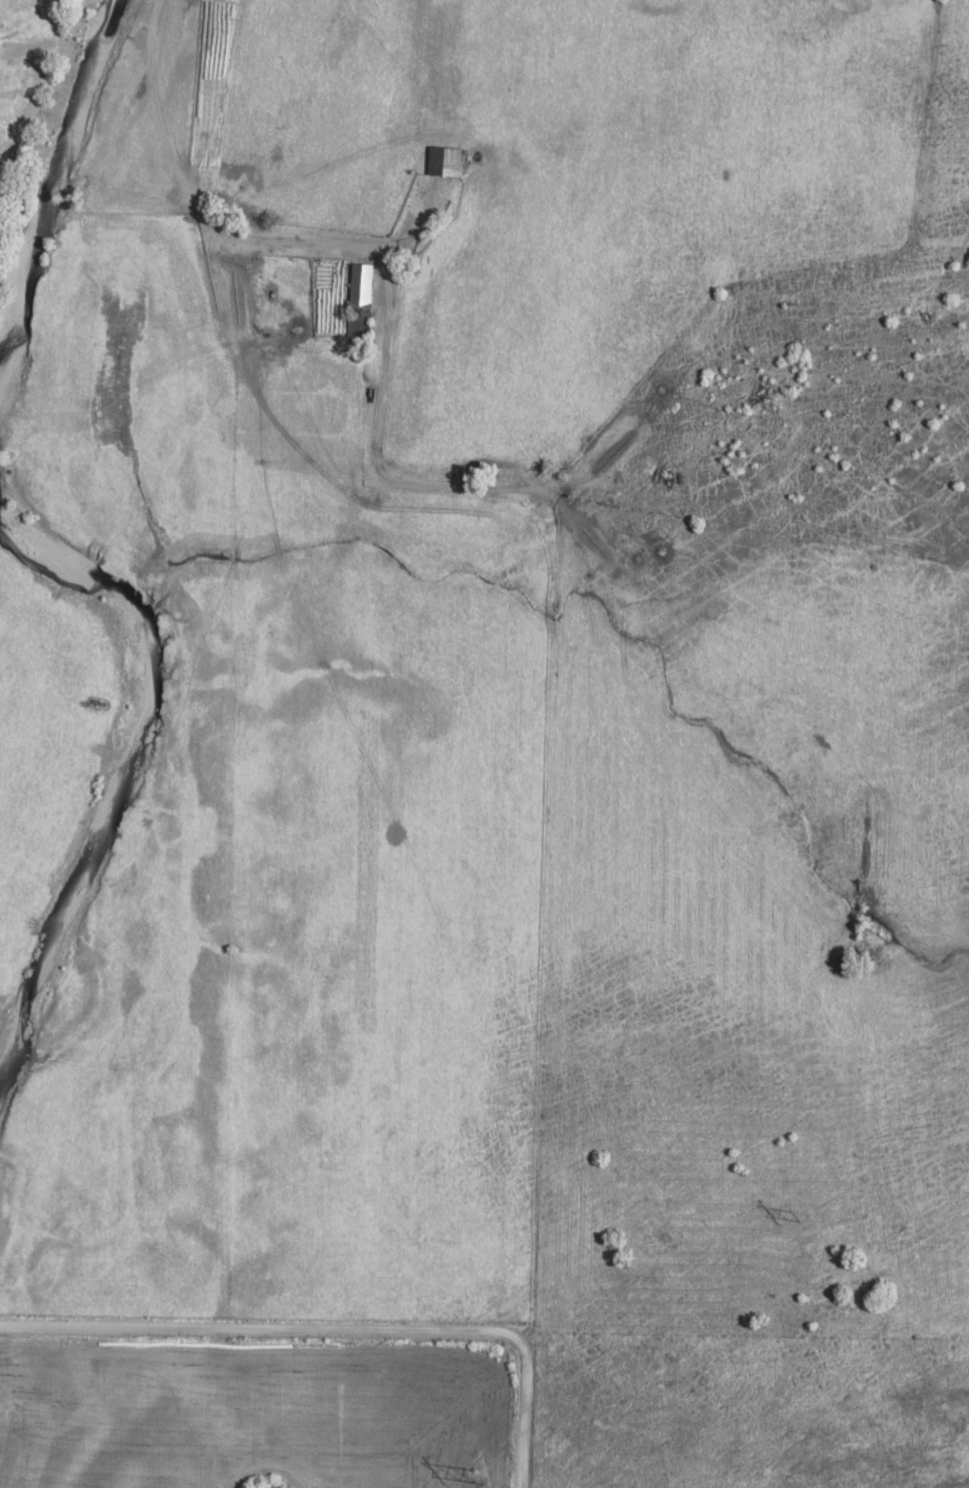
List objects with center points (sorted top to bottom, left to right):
building: (445, 163)
road: (196, 201)
building: (364, 287)
power tower: (800, 1220)
road: (333, 1331)
power tower: (486, 1476)

